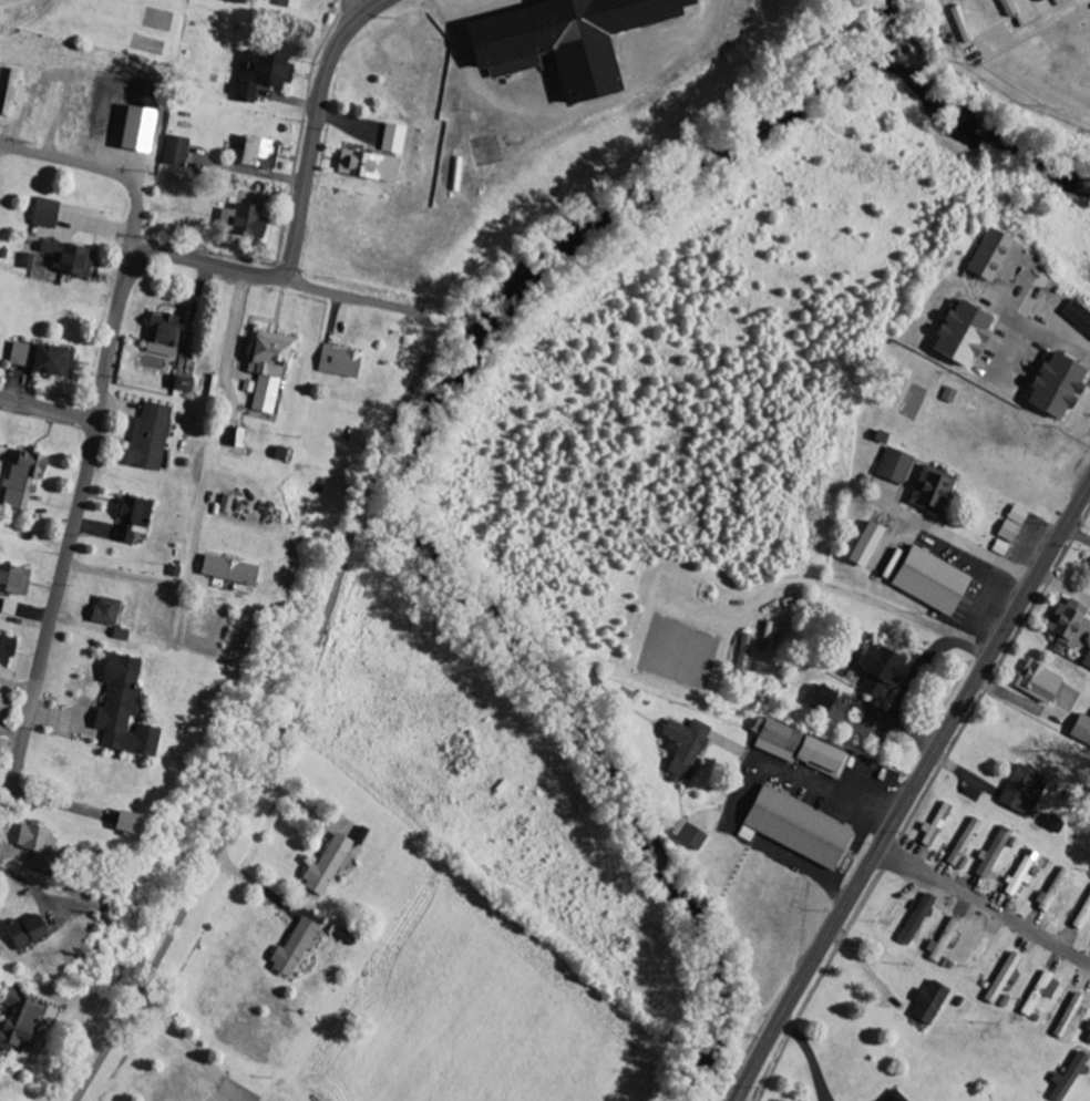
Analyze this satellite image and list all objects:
building: (1036, 1)
building: (286, 3)
building: (1005, 9)
road: (343, 21)
park: (105, 23)
building: (559, 41)
building: (259, 76)
building: (8, 93)
river: (963, 122)
building: (392, 141)
building: (172, 153)
building: (254, 155)
building: (364, 167)
road: (119, 176)
building: (42, 214)
building: (239, 219)
building: (986, 257)
building: (65, 260)
building: (24, 263)
road: (278, 275)
building: (1077, 318)
building: (956, 336)
building: (161, 337)
building: (40, 361)
building: (338, 363)
building: (266, 369)
building: (178, 385)
building: (1051, 387)
building: (946, 397)
road: (48, 411)
building: (147, 439)
building: (235, 439)
building: (891, 467)
building: (20, 480)
building: (928, 492)
building: (224, 506)
building: (1015, 516)
building: (131, 519)
building: (1005, 532)
road: (1077, 536)
building: (862, 546)
building: (226, 573)
building: (12, 582)
building: (925, 583)
building: (7, 608)
building: (103, 611)
road: (48, 626)
building: (1066, 628)
building: (119, 635)
building: (764, 637)
building: (3, 650)
road: (315, 651)
building: (742, 654)
building: (1086, 660)
building: (874, 672)
building: (1037, 685)
building: (816, 700)
building: (1, 704)
building: (120, 709)
building: (1, 731)
building: (1080, 732)
building: (681, 748)
building: (794, 748)
building: (1019, 791)
road: (911, 792)
building: (122, 822)
building: (1049, 823)
building: (933, 826)
building: (794, 827)
building: (685, 835)
building: (32, 842)
building: (962, 843)
building: (989, 855)
building: (326, 865)
building: (1019, 874)
building: (1049, 893)
road: (985, 904)
building: (1081, 913)
building: (24, 932)
building: (939, 940)
building: (292, 949)
building: (1000, 980)
building: (1038, 994)
building: (926, 1004)
building: (1067, 1016)
building: (17, 1020)
building: (1087, 1035)
building: (1066, 1077)
building: (891, 1097)

